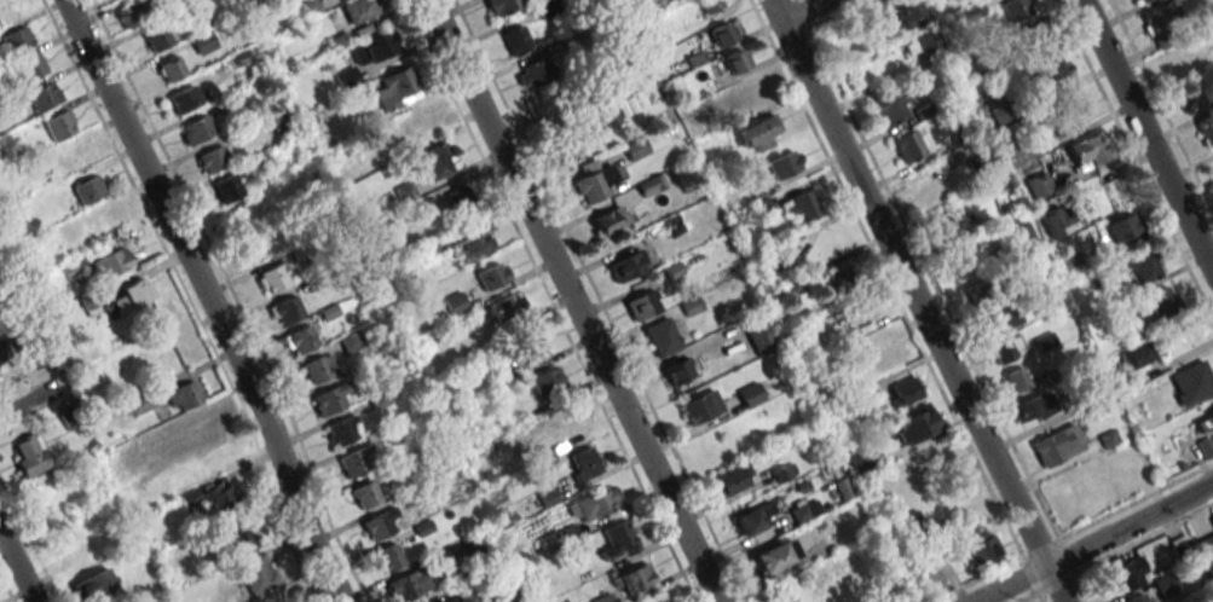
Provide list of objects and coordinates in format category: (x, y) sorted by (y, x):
building: (628, 0)
building: (1140, 0)
building: (503, 5)
building: (709, 5)
building: (139, 8)
building: (1015, 8)
building: (359, 10)
road: (807, 10)
building: (909, 13)
building: (1162, 17)
building: (726, 31)
building: (156, 37)
building: (515, 39)
building: (17, 40)
building: (919, 42)
building: (1036, 44)
building: (376, 48)
building: (737, 59)
building: (29, 68)
building: (169, 69)
building: (532, 74)
building: (1052, 74)
building: (347, 79)
building: (397, 89)
building: (753, 91)
building: (44, 97)
building: (186, 97)
building: (893, 105)
building: (1067, 114)
building: (607, 116)
building: (420, 120)
building: (59, 126)
building: (196, 129)
building: (757, 133)
building: (1207, 134)
road: (1146, 135)
building: (567, 139)
building: (908, 146)
building: (1088, 150)
building: (71, 157)
building: (213, 158)
building: (362, 161)
building: (437, 161)
building: (784, 163)
building: (594, 184)
building: (1039, 184)
building: (651, 185)
building: (226, 187)
building: (87, 189)
building: (404, 191)
building: (458, 195)
building: (759, 199)
building: (802, 204)
building: (610, 220)
building: (1057, 221)
building: (1124, 226)
building: (1021, 237)
building: (473, 245)
building: (112, 262)
building: (1140, 264)
building: (625, 266)
building: (492, 274)
building: (273, 278)
building: (837, 279)
building: (980, 294)
building: (131, 295)
road: (212, 297)
road: (919, 300)
road: (572, 301)
building: (1161, 301)
building: (455, 302)
building: (642, 305)
building: (506, 307)
building: (284, 309)
building: (867, 314)
building: (1001, 318)
building: (758, 334)
building: (662, 336)
building: (300, 340)
building: (526, 346)
building: (1007, 347)
building: (1134, 355)
building: (320, 367)
building: (678, 370)
building: (1015, 378)
building: (1192, 381)
building: (548, 383)
building: (906, 390)
building: (750, 394)
building: (183, 396)
road: (29, 399)
building: (329, 399)
building: (134, 405)
building: (701, 406)
building: (1033, 407)
building: (1209, 419)
building: (913, 424)
building: (198, 428)
building: (342, 430)
building: (560, 436)
building: (149, 442)
building: (1057, 445)
building: (28, 455)
building: (354, 461)
building: (584, 467)
building: (784, 471)
building: (732, 479)
building: (150, 486)
building: (843, 488)
building: (900, 491)
building: (365, 494)
building: (213, 498)
building: (593, 503)
building: (804, 510)
building: (755, 517)
building: (381, 523)
building: (912, 523)
building: (568, 533)
building: (242, 539)
building: (617, 540)
road: (1094, 543)
building: (1206, 548)
building: (775, 555)
building: (388, 556)
road: (16, 568)
building: (256, 572)
building: (1126, 574)
building: (633, 578)
building: (838, 579)
building: (930, 580)
building: (408, 584)
building: (94, 585)
building: (507, 597)
building: (602, 598)
building: (1137, 598)

